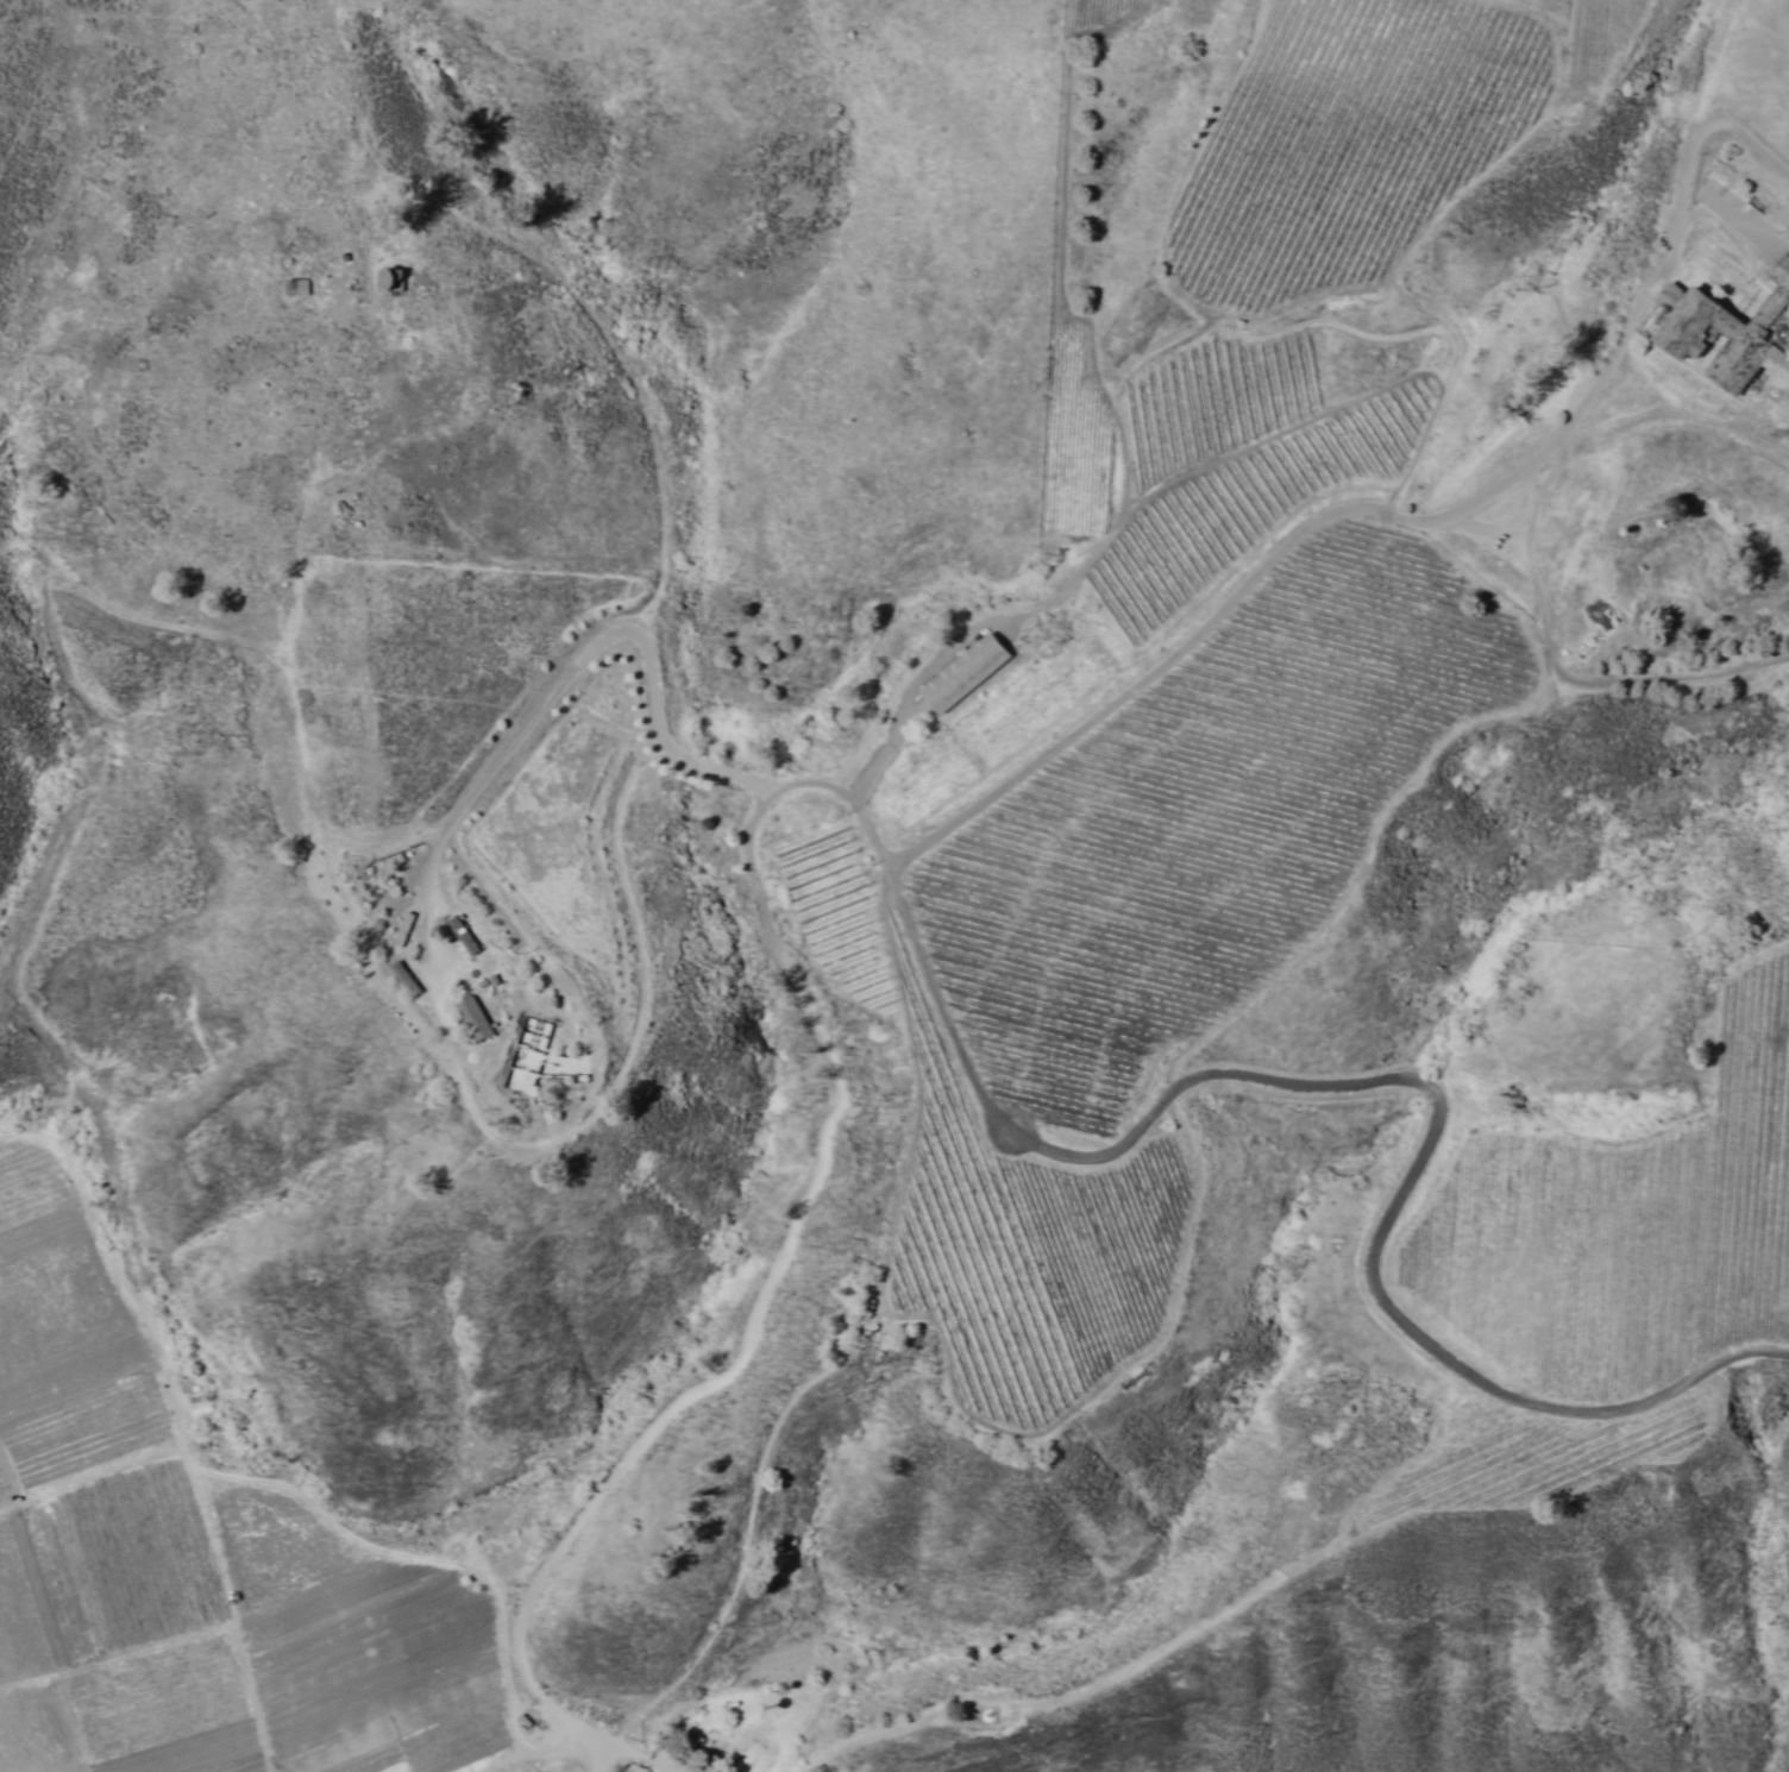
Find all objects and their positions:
crop: (1123, 13)
crop: (1772, 105)
building: (291, 287)
building: (1726, 333)
building: (959, 674)
crop: (1197, 692)
building: (400, 928)
building: (459, 935)
building: (470, 1017)
crop: (1624, 1233)
crop: (213, 1565)
road: (601, 1764)

